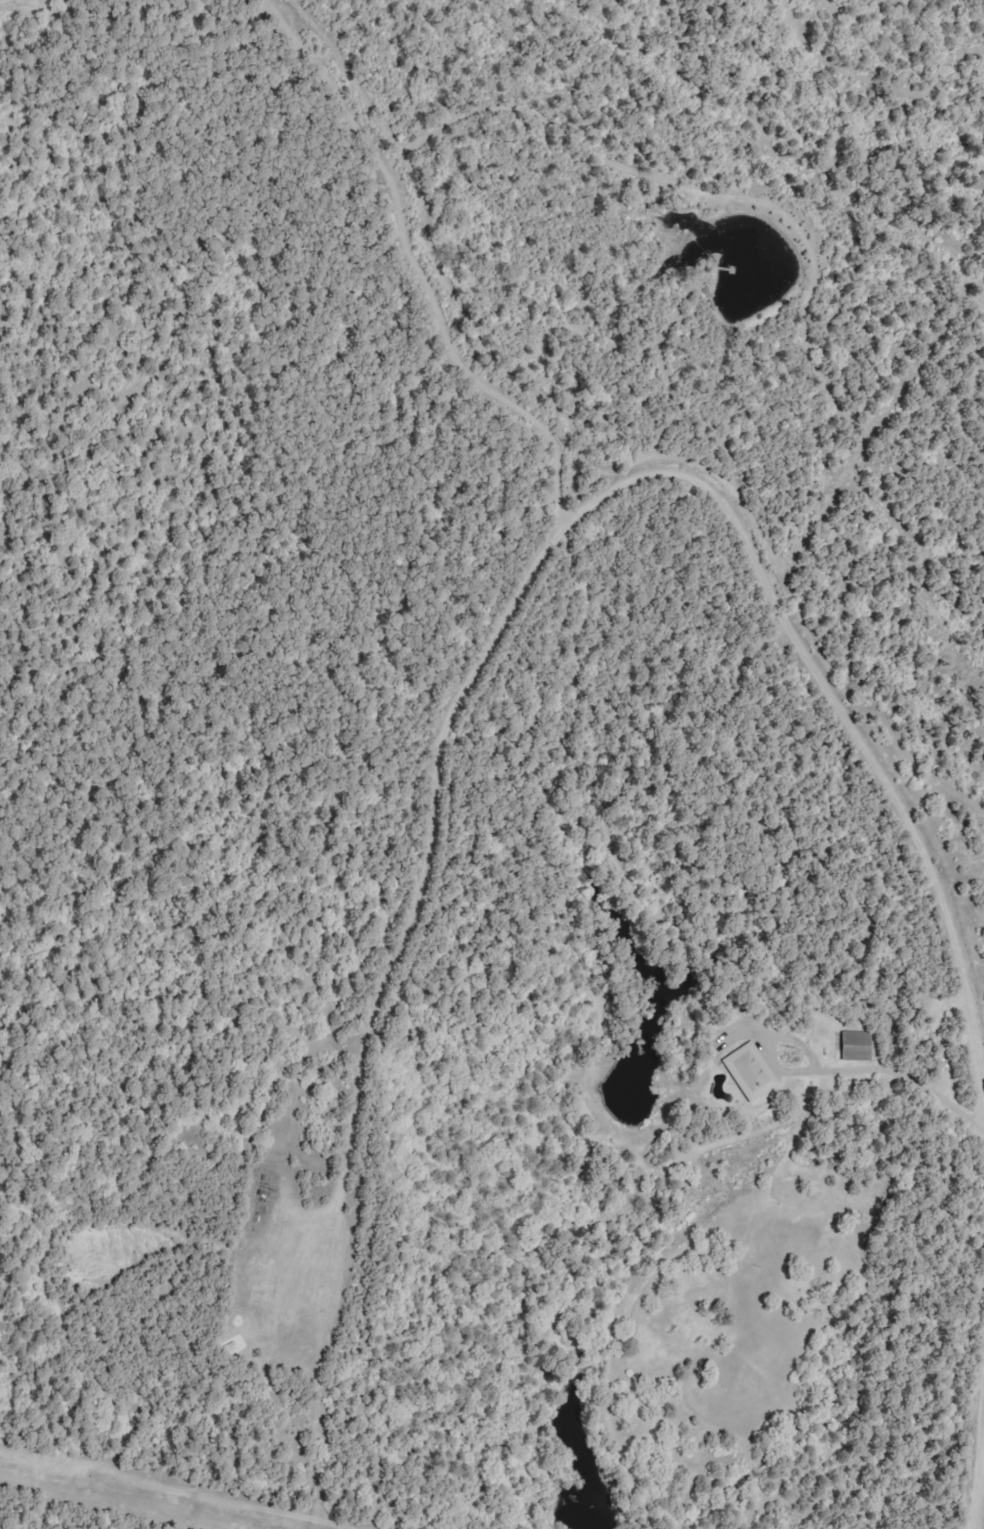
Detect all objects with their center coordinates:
road: (538, 242)
road: (852, 729)
road: (423, 878)
building: (859, 1045)
building: (754, 1071)
road: (983, 1079)
road: (978, 1478)

